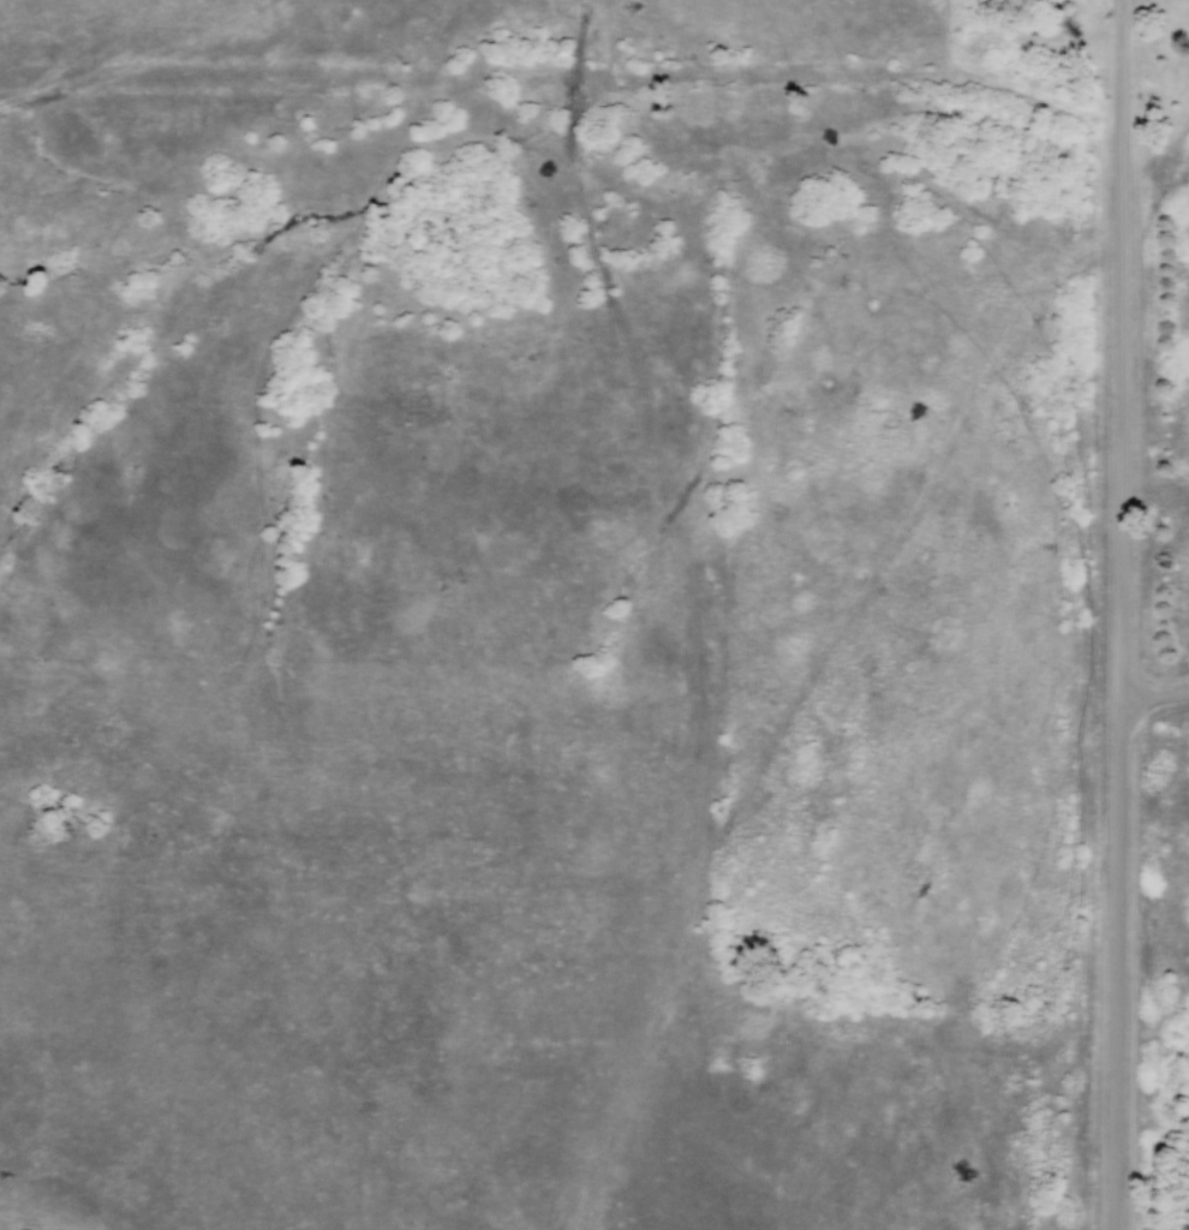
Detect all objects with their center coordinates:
road: (1121, 25)
park: (1148, 562)
road: (1124, 639)
road: (1157, 695)

